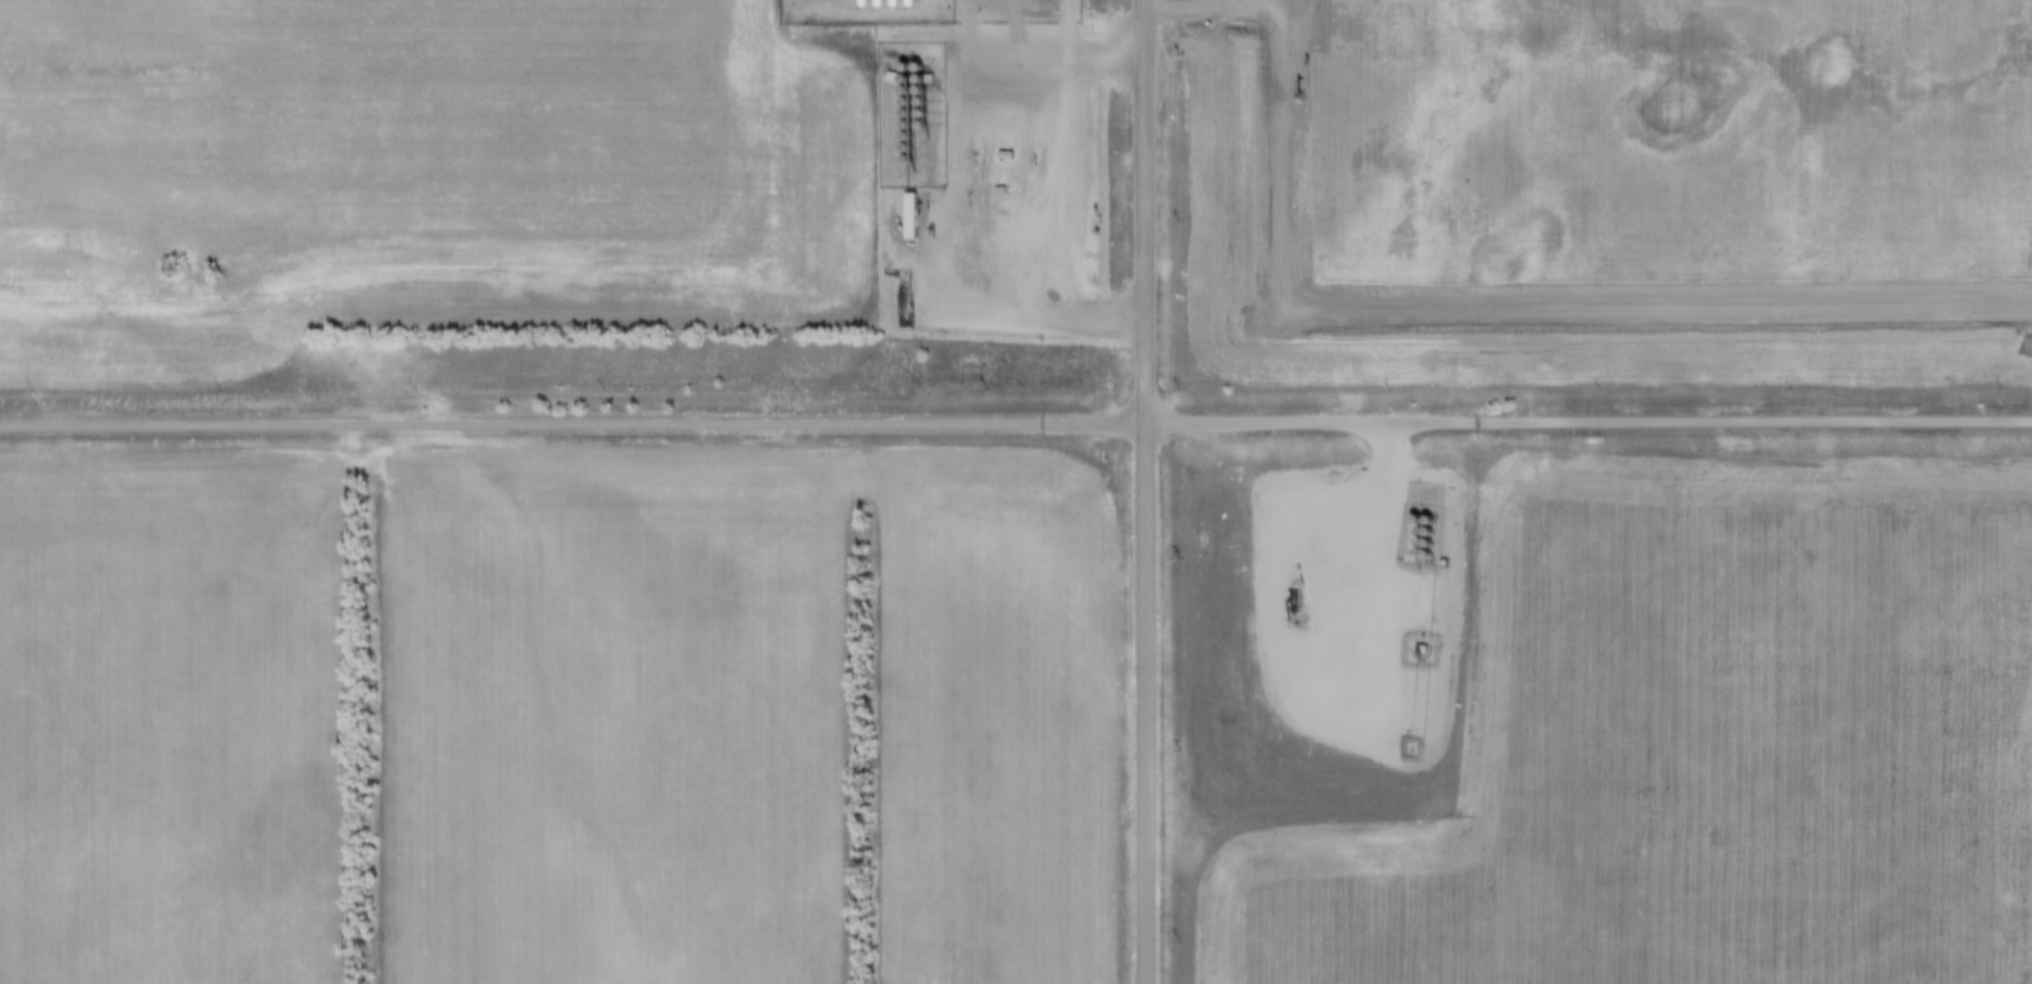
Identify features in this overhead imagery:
building: (912, 212)
road: (1587, 424)
road: (571, 426)
road: (1144, 492)

